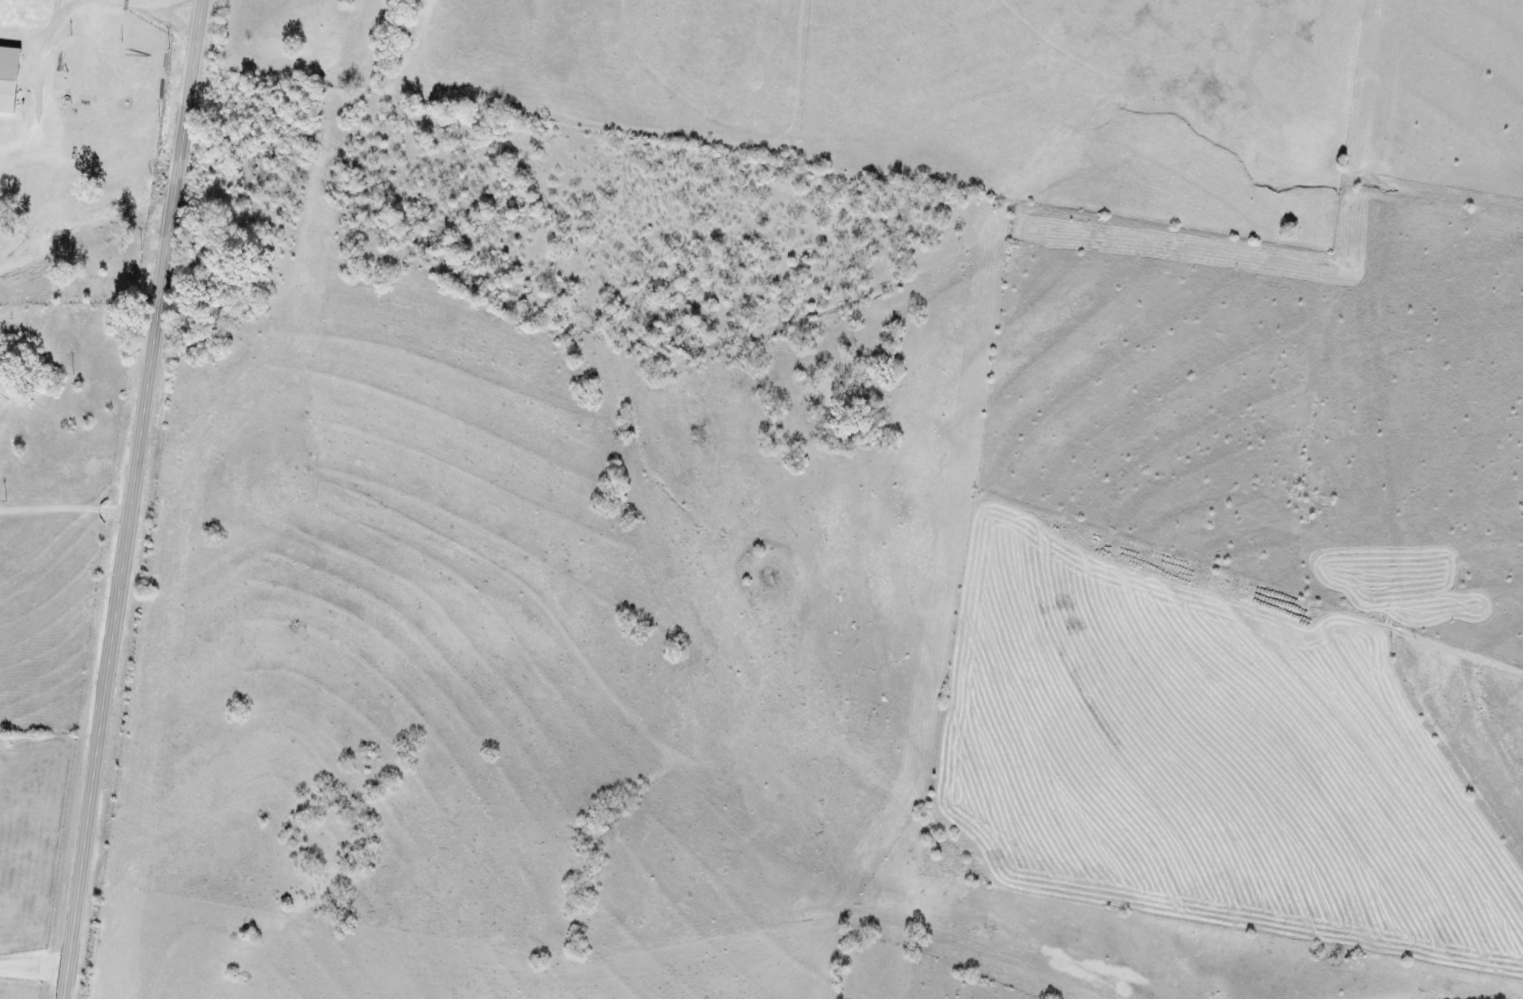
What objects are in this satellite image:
building: (9, 78)
road: (129, 499)
road: (34, 961)

